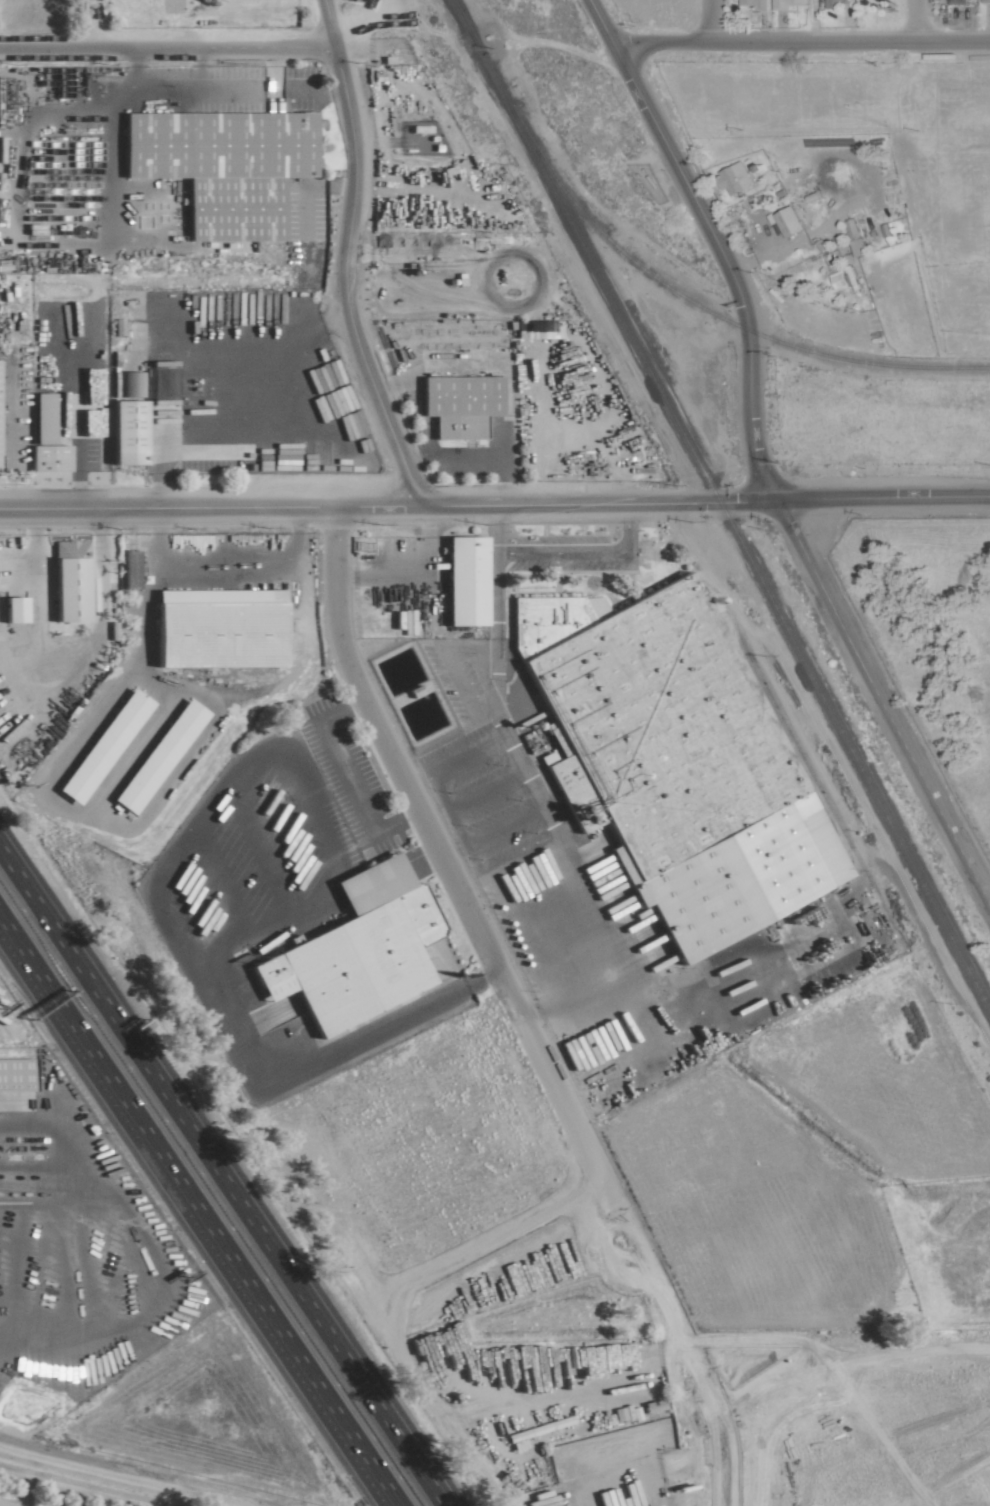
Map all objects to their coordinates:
building: (985, 0)
building: (956, 1)
building: (832, 3)
building: (753, 4)
building: (784, 4)
road: (601, 21)
road: (708, 21)
railway: (464, 22)
road: (807, 22)
road: (87, 23)
road: (914, 23)
road: (801, 43)
road: (166, 46)
road: (166, 87)
road: (316, 92)
building: (221, 166)
building: (733, 178)
building: (786, 221)
building: (857, 247)
road: (343, 257)
road: (726, 262)
building: (838, 280)
railway: (708, 313)
building: (531, 329)
building: (458, 405)
road: (248, 411)
building: (125, 431)
building: (45, 437)
road: (882, 496)
road: (597, 503)
railway: (721, 505)
road: (209, 506)
road: (495, 529)
road: (33, 531)
road: (70, 552)
road: (584, 552)
building: (129, 568)
building: (68, 579)
building: (463, 580)
road: (495, 595)
building: (1, 624)
building: (216, 627)
building: (619, 645)
road: (449, 670)
road: (882, 702)
building: (101, 746)
building: (156, 755)
road: (360, 794)
road: (445, 811)
road: (565, 855)
building: (743, 855)
road: (457, 891)
road: (506, 905)
building: (355, 949)
road: (206, 973)
building: (15, 1072)
road: (13, 1105)
road: (222, 1175)
road: (195, 1215)
road: (608, 1265)
road: (690, 1378)
road: (590, 1385)
road: (634, 1472)
building: (654, 1505)

